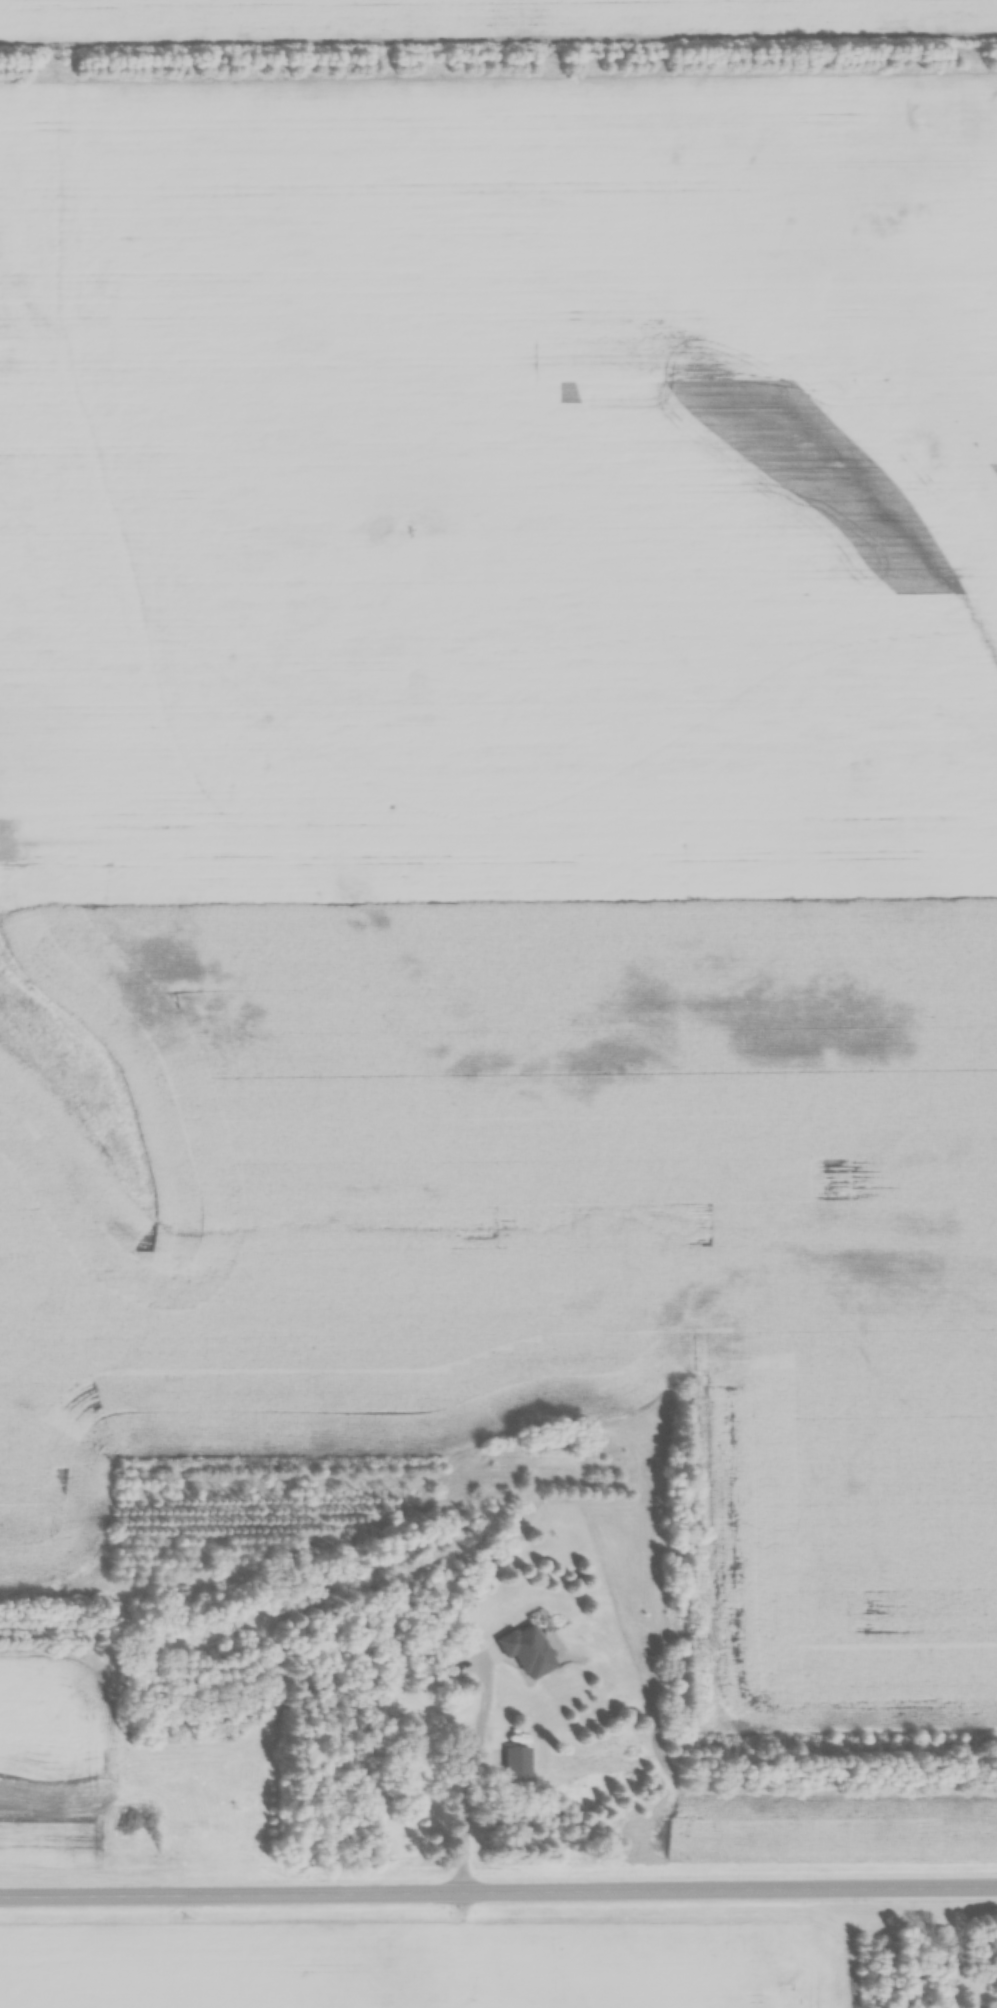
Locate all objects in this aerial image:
building: (527, 1649)
building: (518, 1763)
road: (498, 1893)

